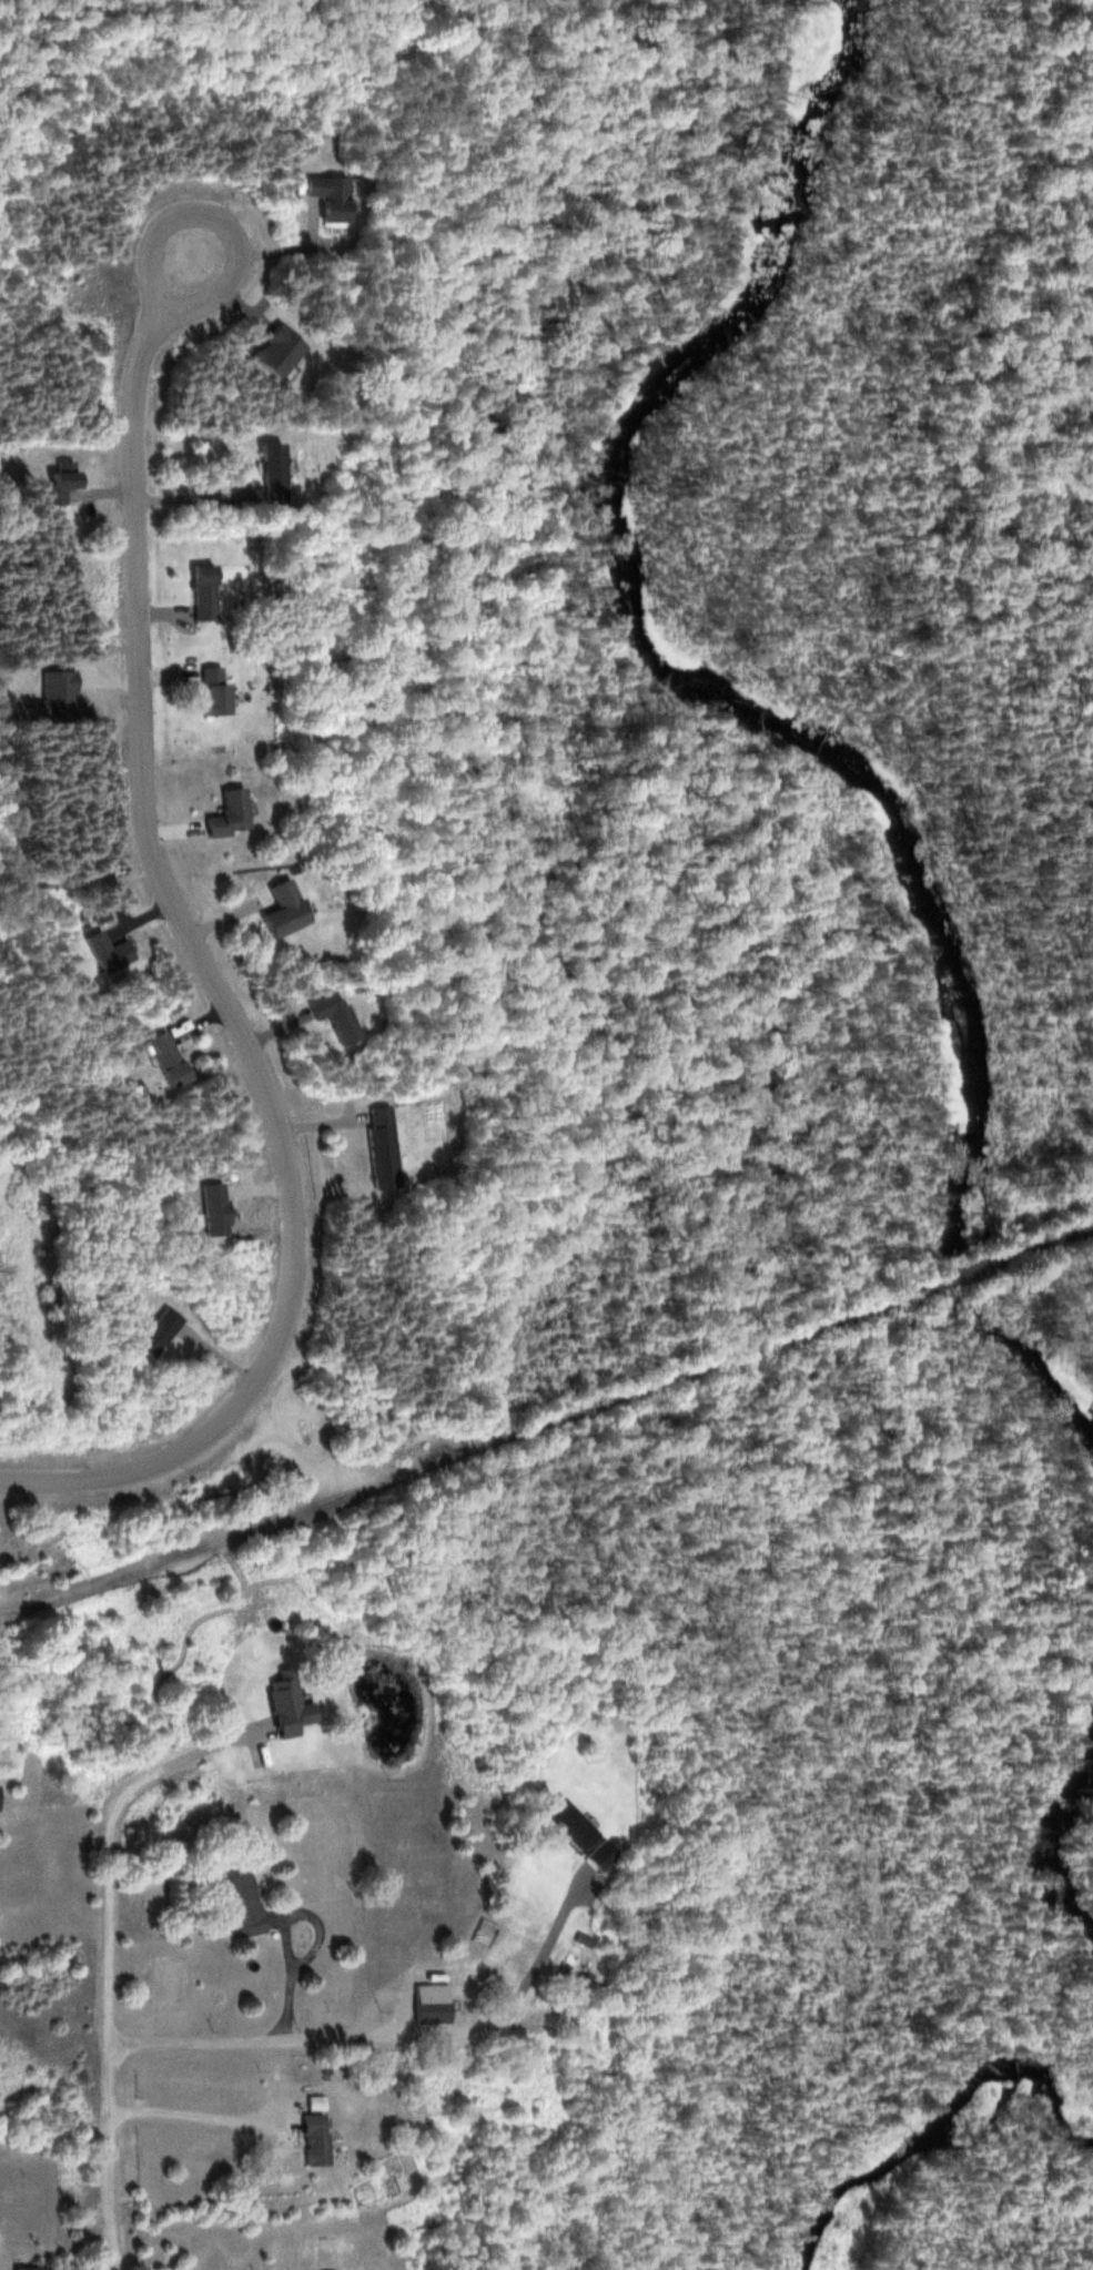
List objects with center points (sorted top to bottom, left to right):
building: (326, 196)
road: (208, 214)
building: (263, 472)
building: (191, 594)
building: (200, 690)
building: (217, 813)
building: (270, 910)
road: (211, 980)
building: (374, 1147)
road: (365, 1399)
road: (546, 1430)
building: (277, 1706)
road: (107, 1843)
building: (236, 1901)
road: (286, 1979)
building: (426, 2010)
road: (244, 2040)
building: (305, 2139)
road: (108, 2157)
building: (22, 2268)

